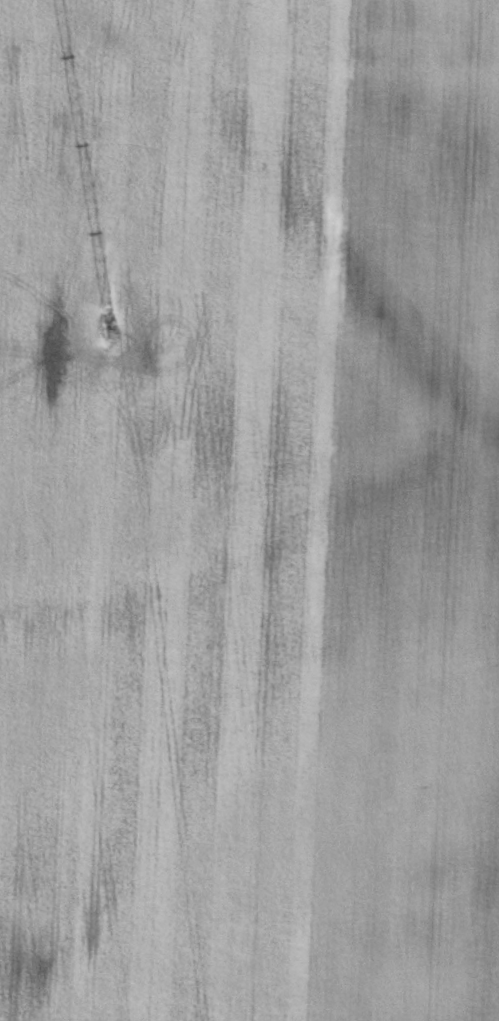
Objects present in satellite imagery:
crop: (249, 510)

